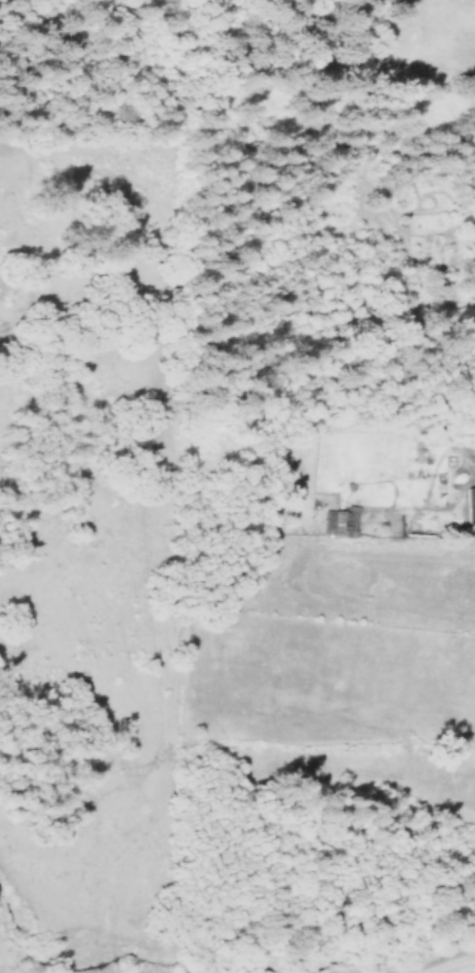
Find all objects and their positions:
building: (468, 498)
building: (343, 521)

